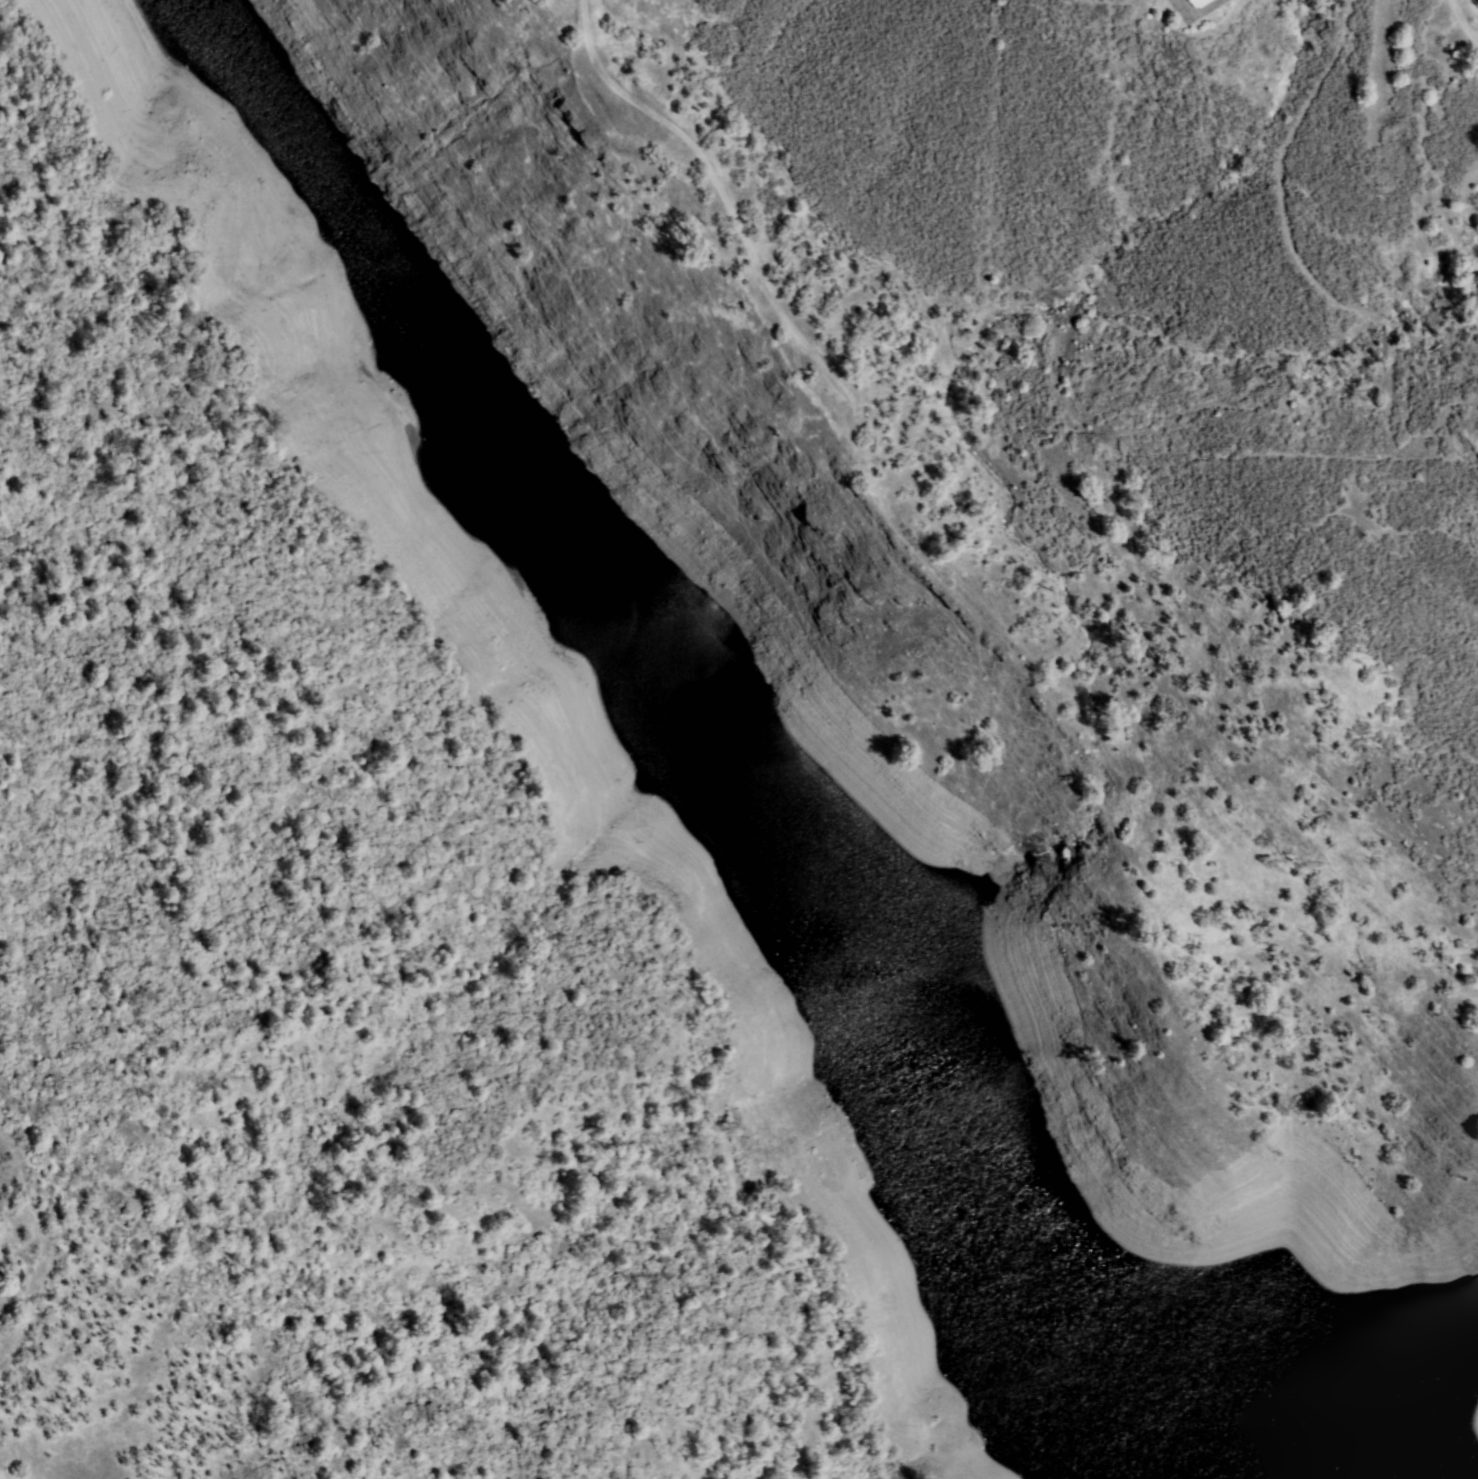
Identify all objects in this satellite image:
building: (1198, 3)
road: (591, 8)

